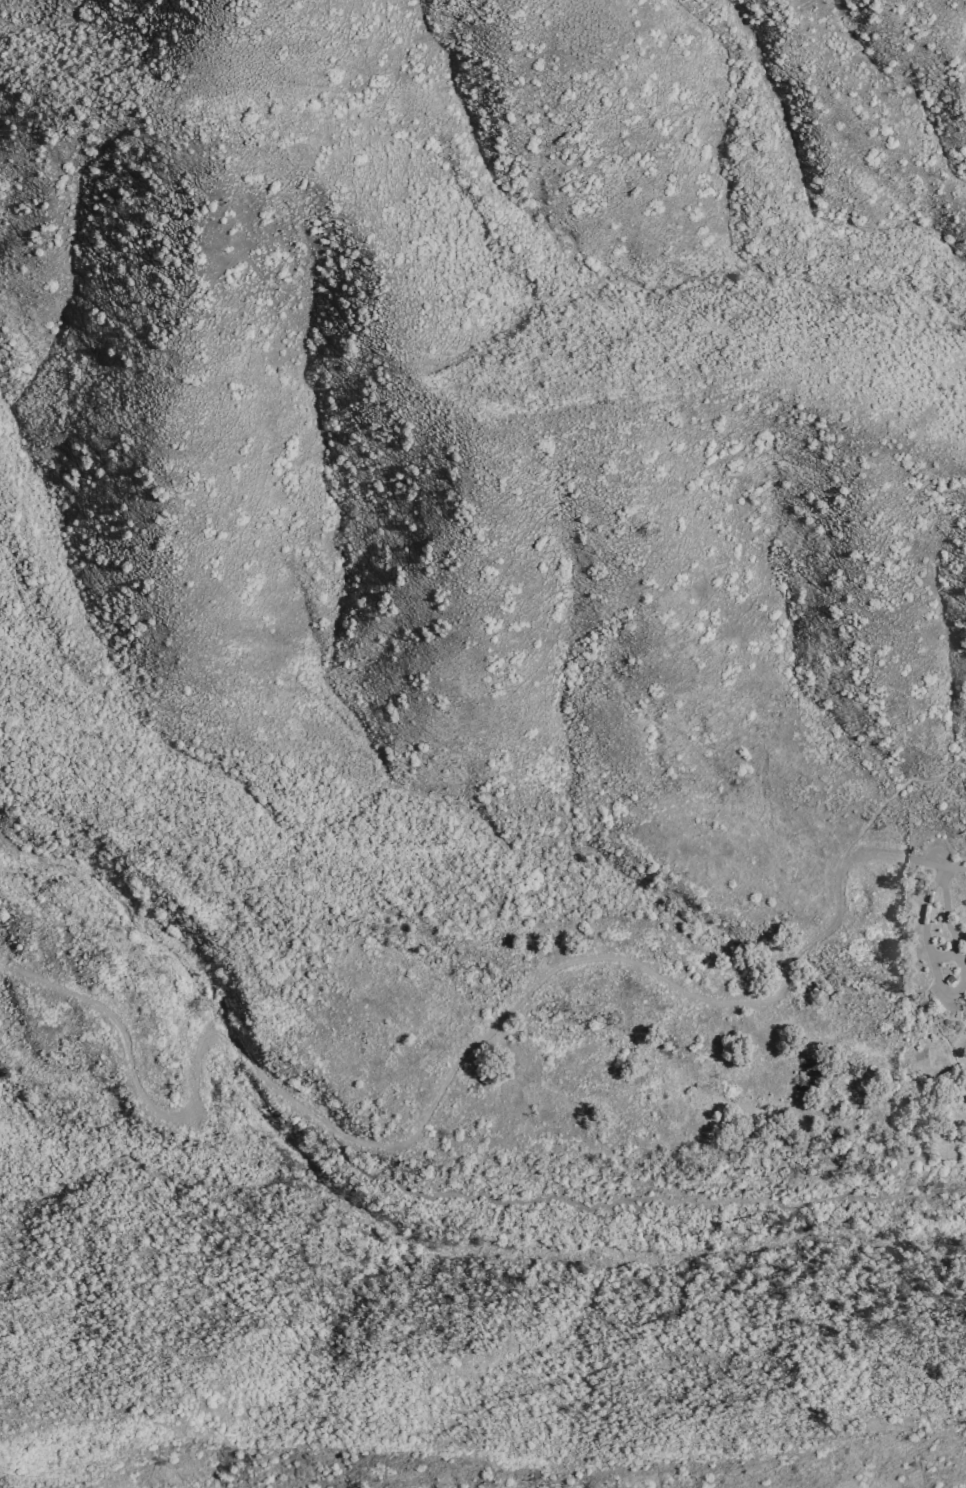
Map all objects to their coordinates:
road: (889, 797)
road: (936, 865)
road: (944, 955)
road: (948, 991)
road: (436, 1095)
road: (629, 1198)

